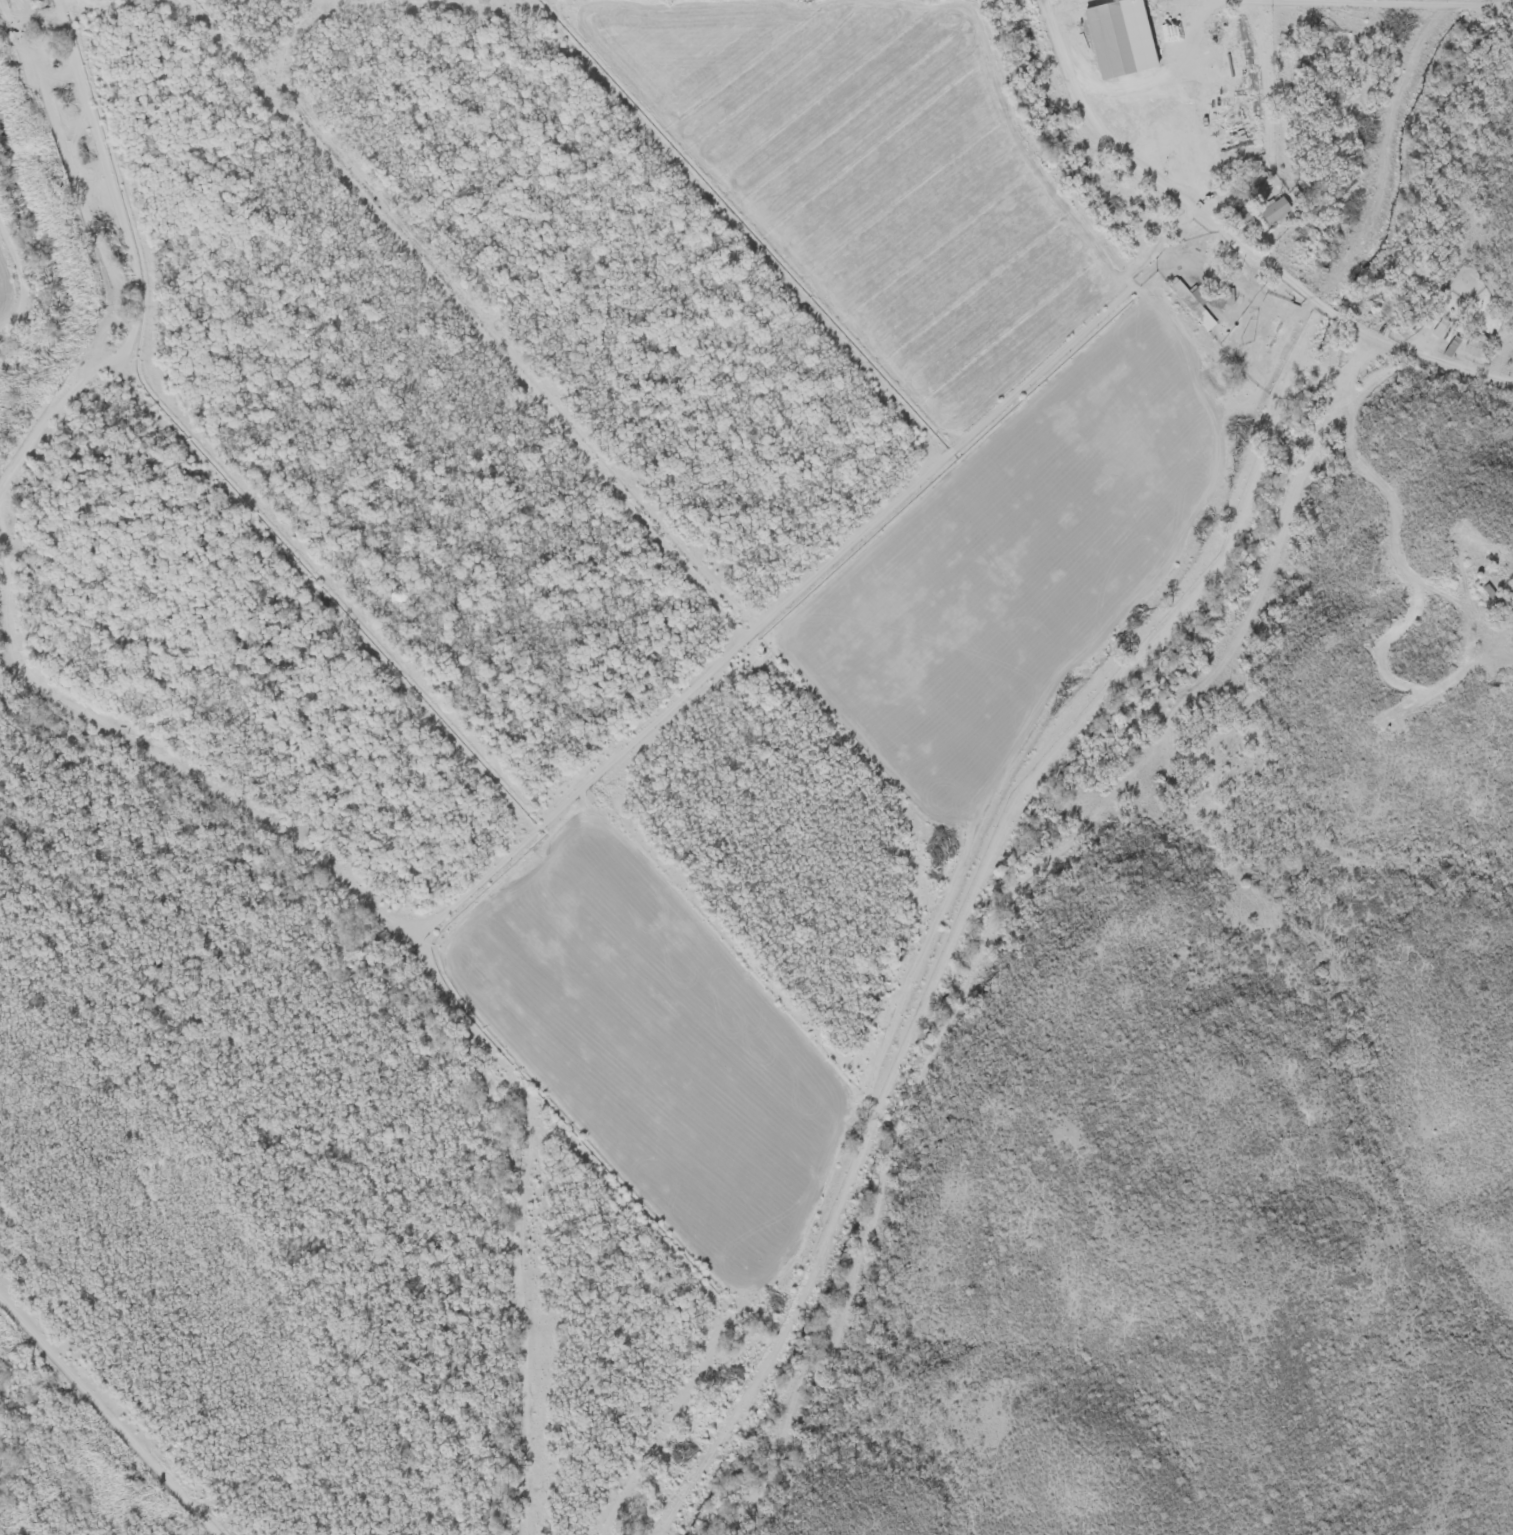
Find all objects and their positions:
building: (1104, 43)
building: (1264, 212)
road: (1239, 240)
building: (1190, 304)
building: (1451, 345)
building: (1473, 345)
building: (1511, 626)

